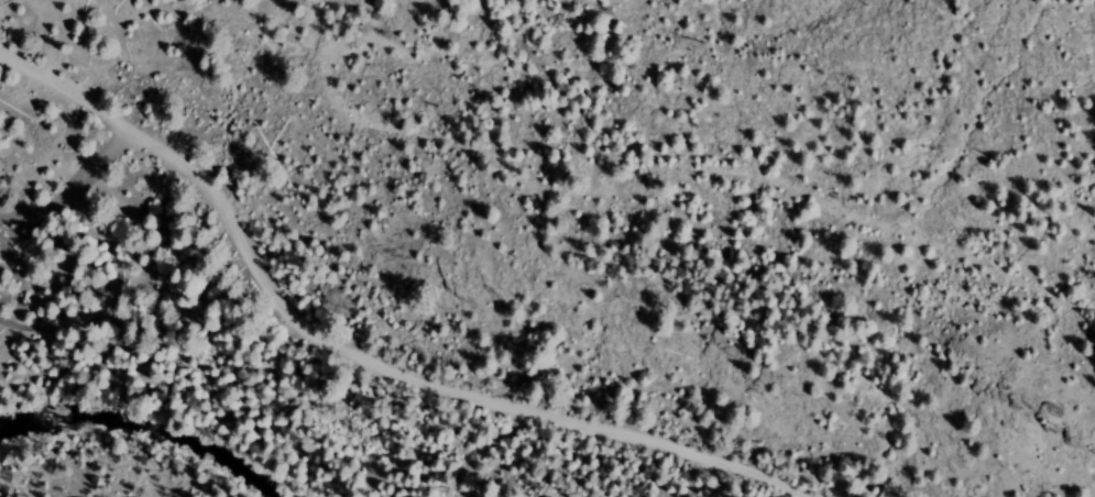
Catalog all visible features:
road: (72, 188)
road: (692, 199)
road: (110, 296)
road: (349, 355)

